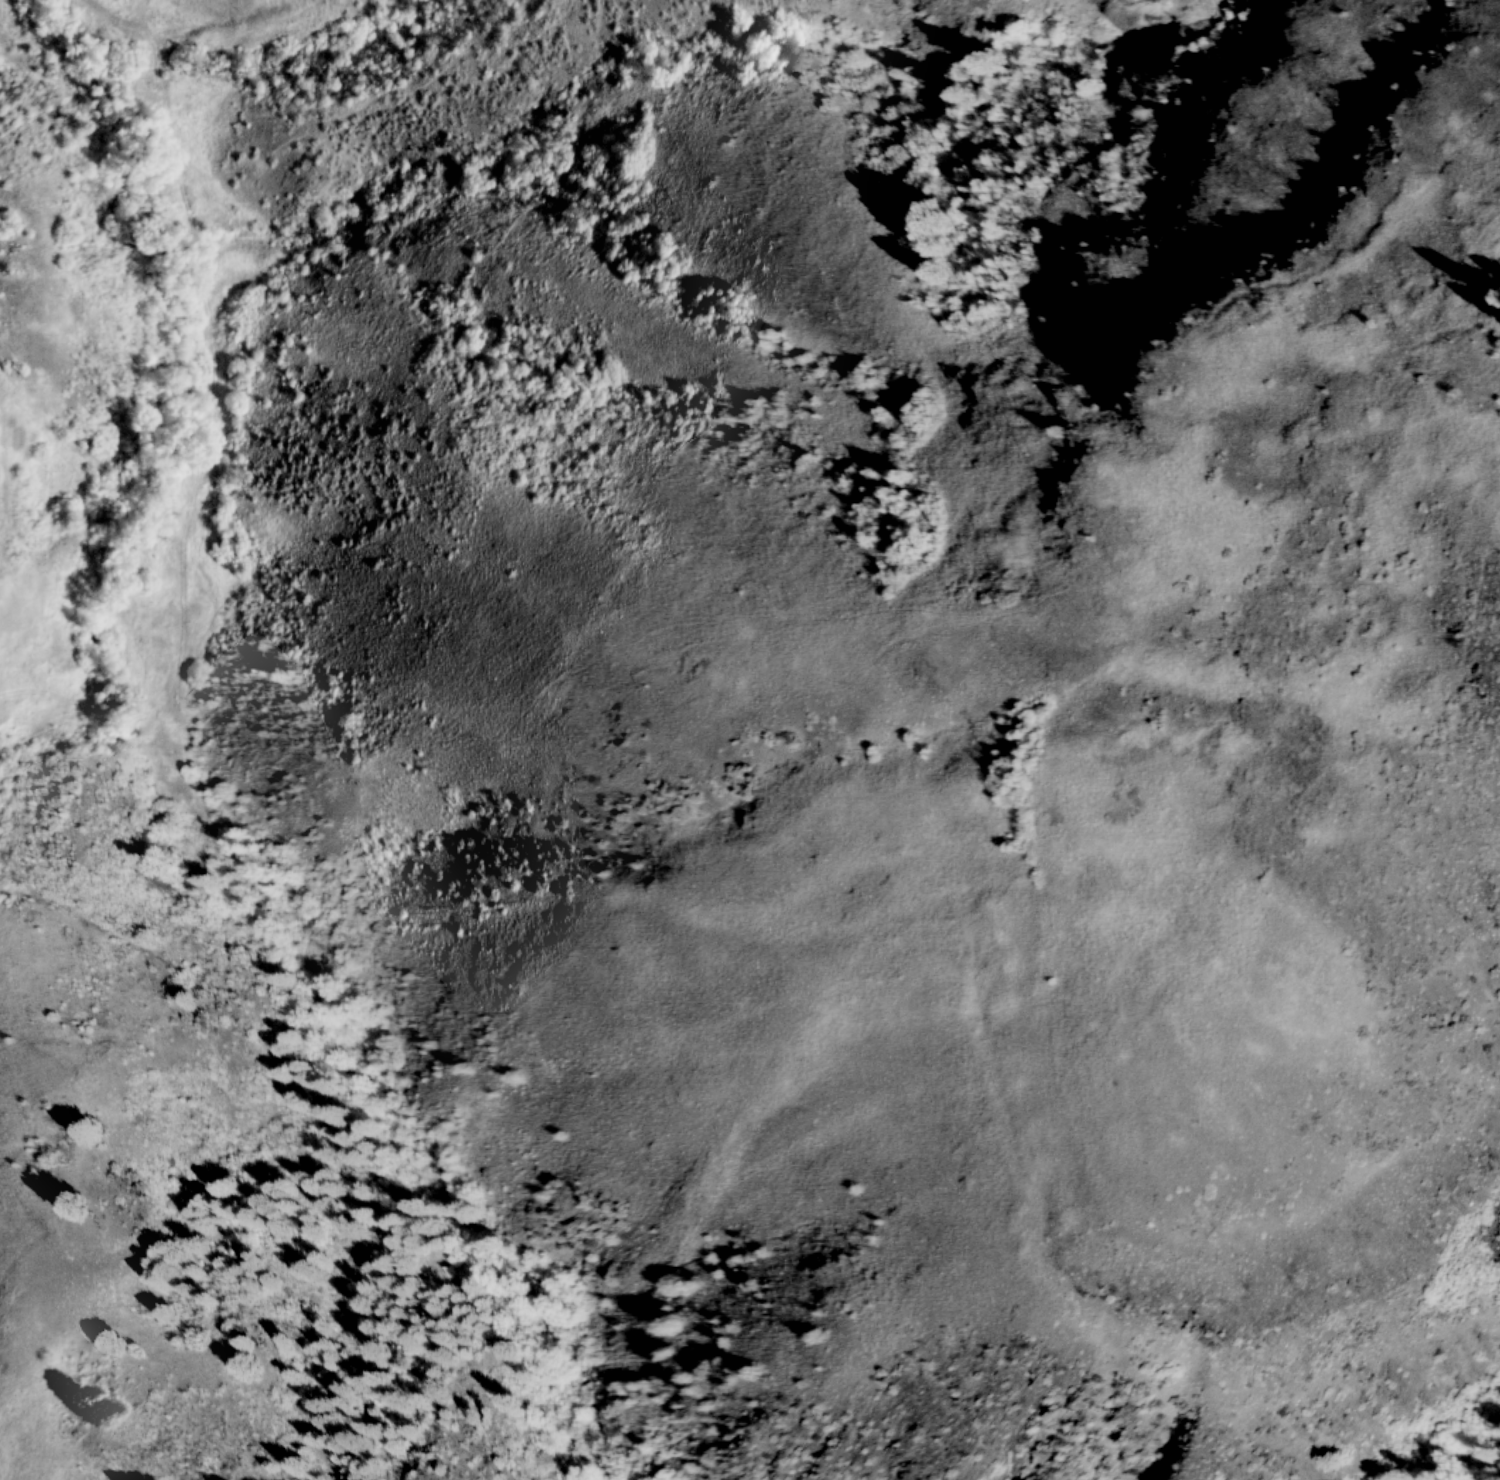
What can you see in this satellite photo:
helipad: (1467, 1087)

